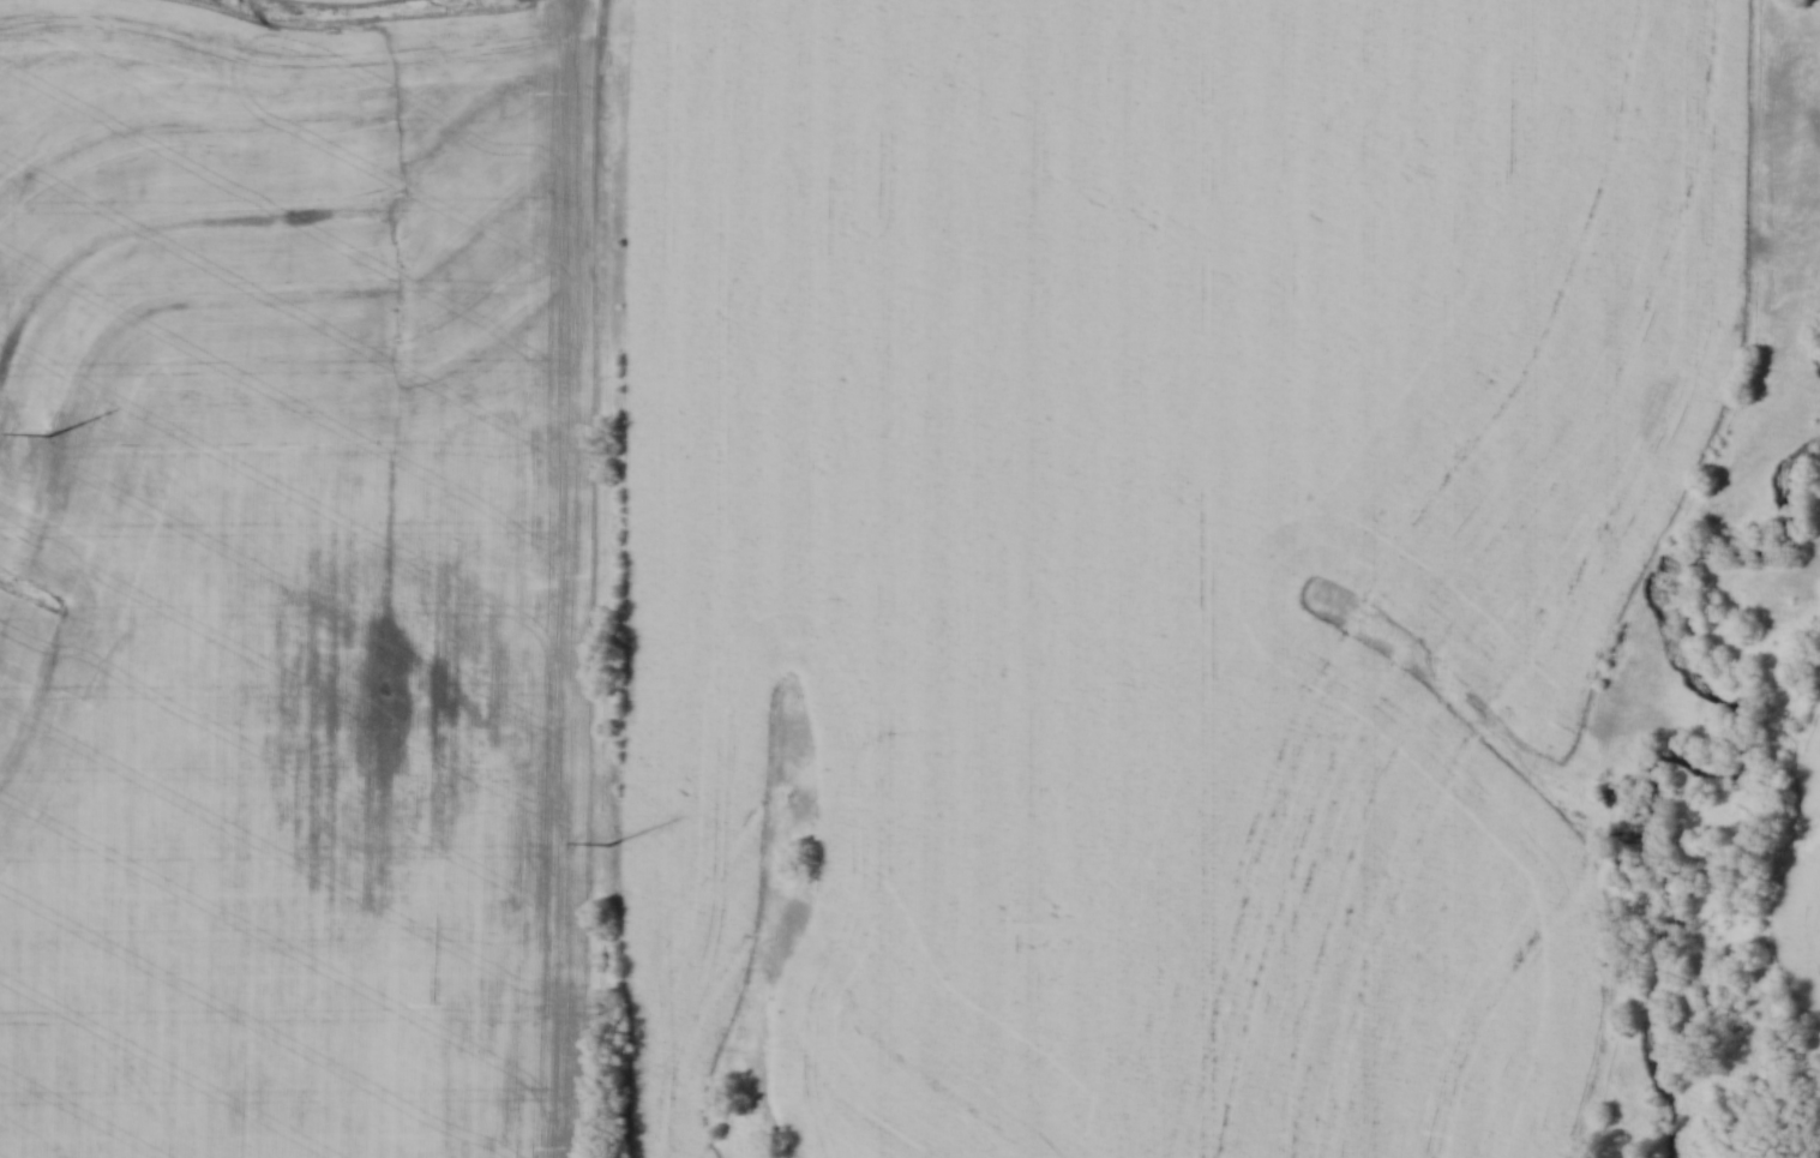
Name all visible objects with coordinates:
power tower: (49, 437)
power tower: (609, 845)

